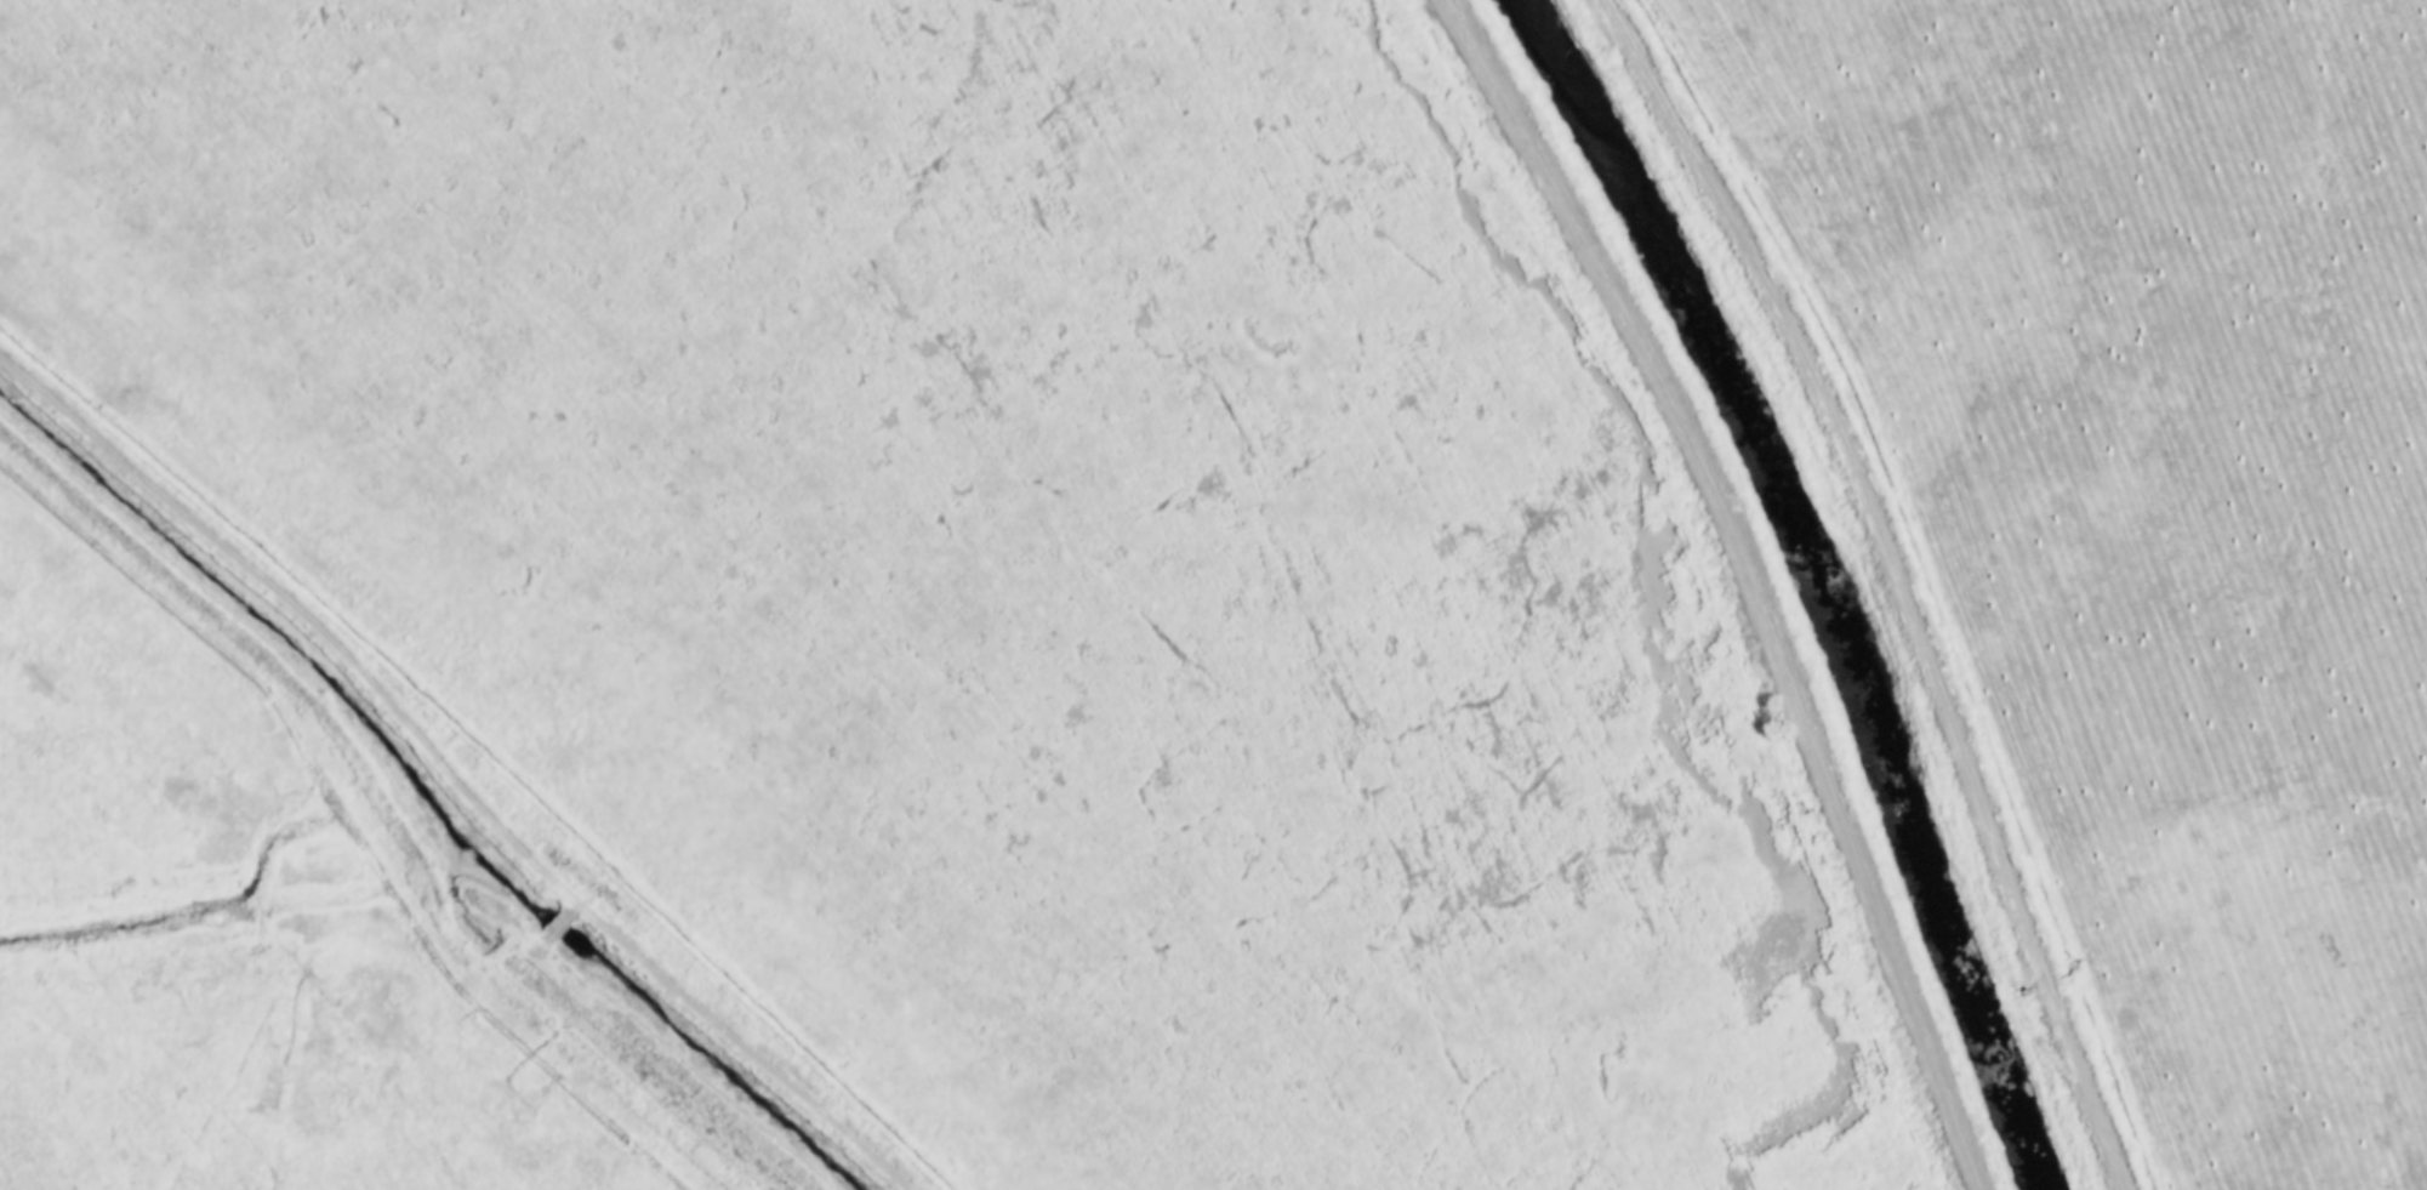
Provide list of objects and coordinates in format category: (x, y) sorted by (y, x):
river: (1828, 571)
road: (1754, 575)

